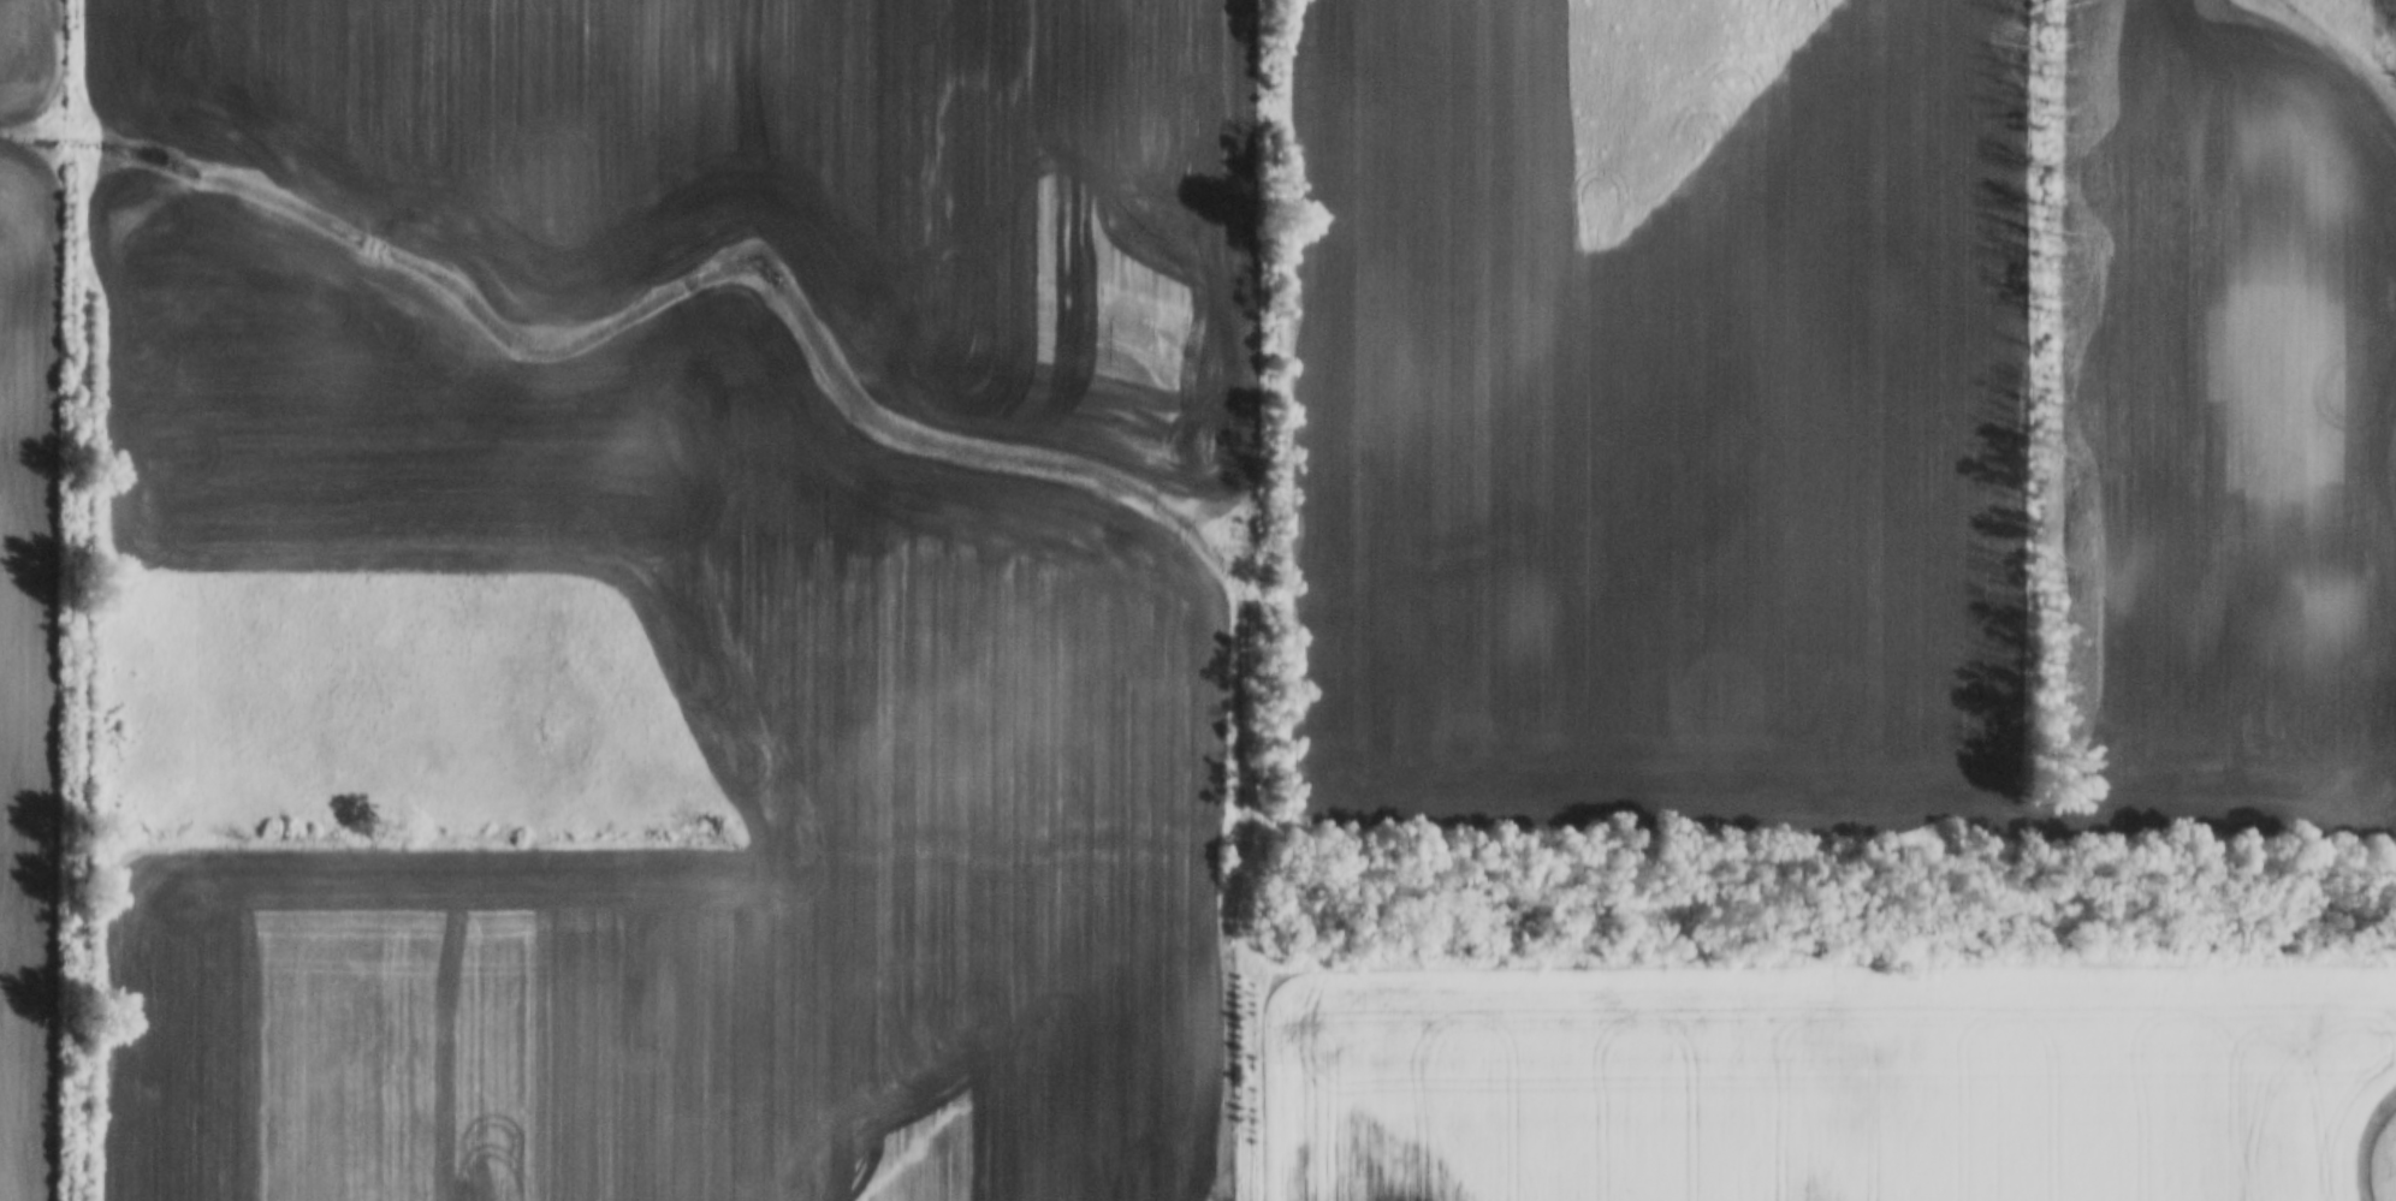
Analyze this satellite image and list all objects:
road: (83, 600)

